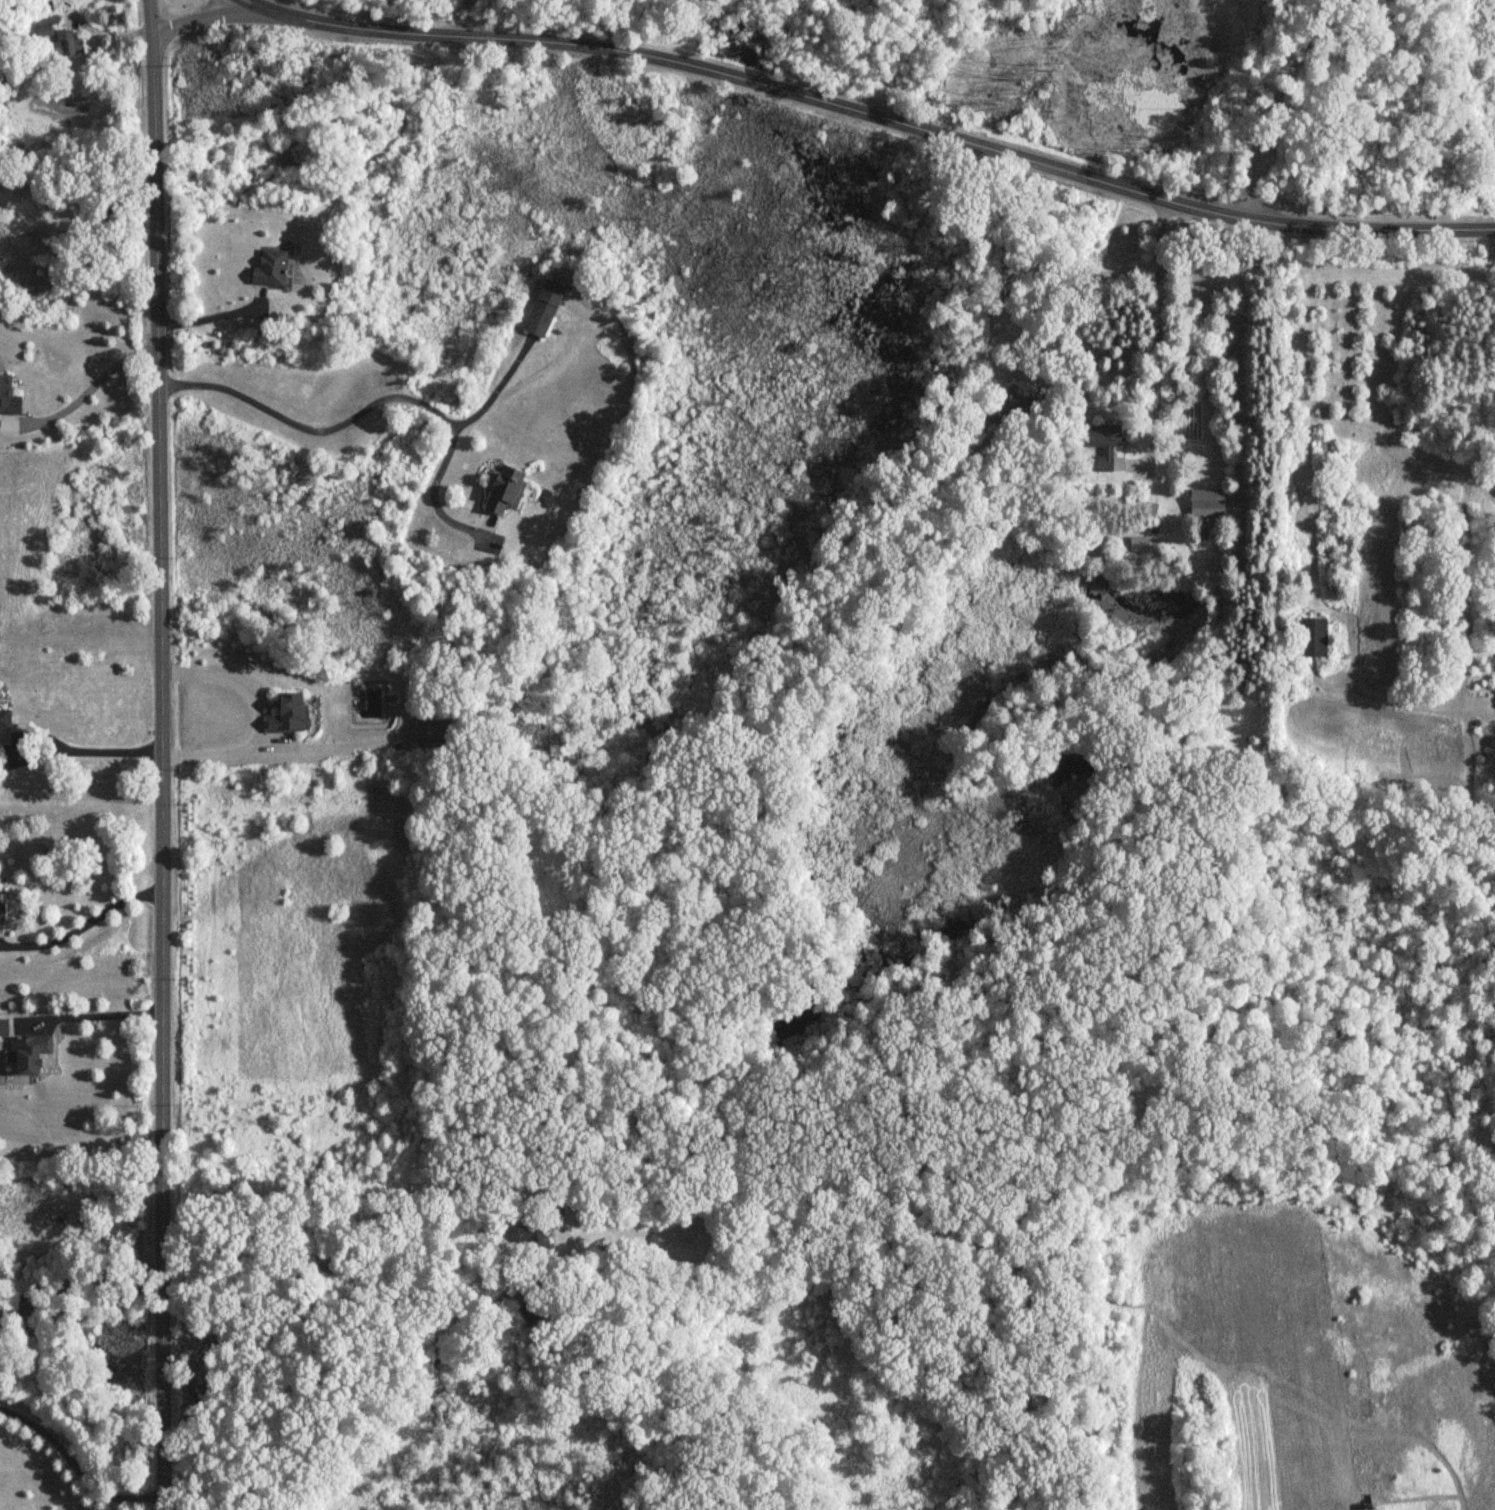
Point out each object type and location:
road: (198, 17)
road: (107, 27)
building: (42, 29)
building: (66, 45)
park: (1147, 89)
road: (1276, 102)
road: (870, 116)
building: (299, 149)
road: (1001, 260)
building: (268, 270)
building: (543, 309)
road: (206, 314)
road: (1160, 335)
road: (494, 391)
road: (86, 395)
building: (8, 400)
road: (369, 403)
building: (1013, 412)
building: (1100, 445)
building: (503, 492)
building: (1206, 504)
building: (1139, 546)
building: (1313, 639)
road: (257, 712)
building: (287, 717)
building: (4, 721)
building: (429, 734)
road: (326, 740)
road: (55, 746)
road: (158, 754)
building: (1, 911)
road: (81, 919)
road: (85, 1014)
building: (3, 1028)
building: (28, 1053)
building: (528, 1235)
crop: (1234, 1362)
road: (377, 1371)
road: (75, 1464)

